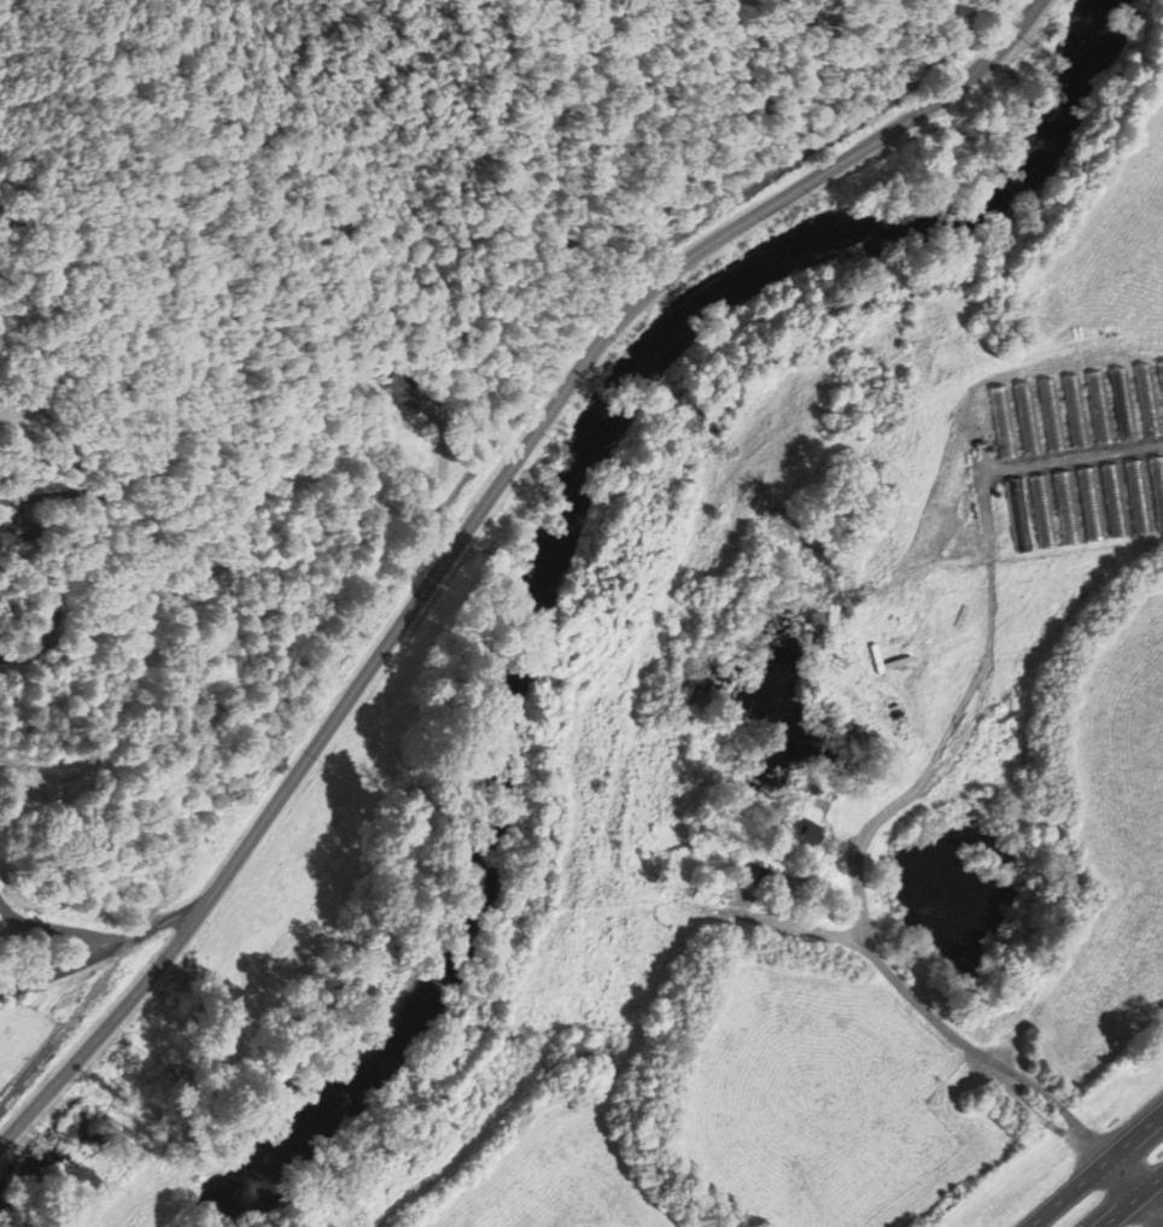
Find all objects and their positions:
building: (409, 401)
railway: (443, 503)
road: (473, 521)
building: (6, 532)
river: (607, 556)
building: (811, 835)
road: (100, 951)
road: (1094, 1168)
road: (1138, 1180)
road: (1128, 1197)

